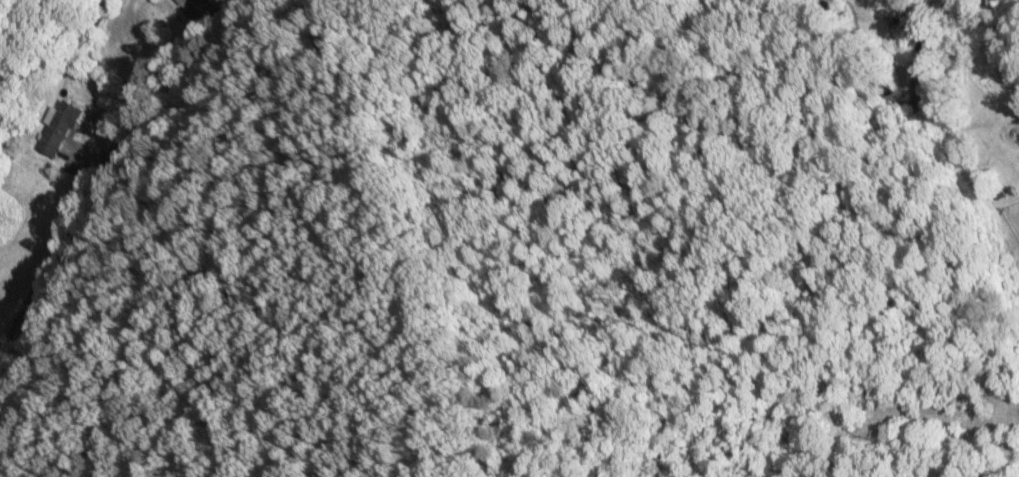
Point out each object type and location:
building: (185, 2)
building: (58, 128)
road: (97, 171)

